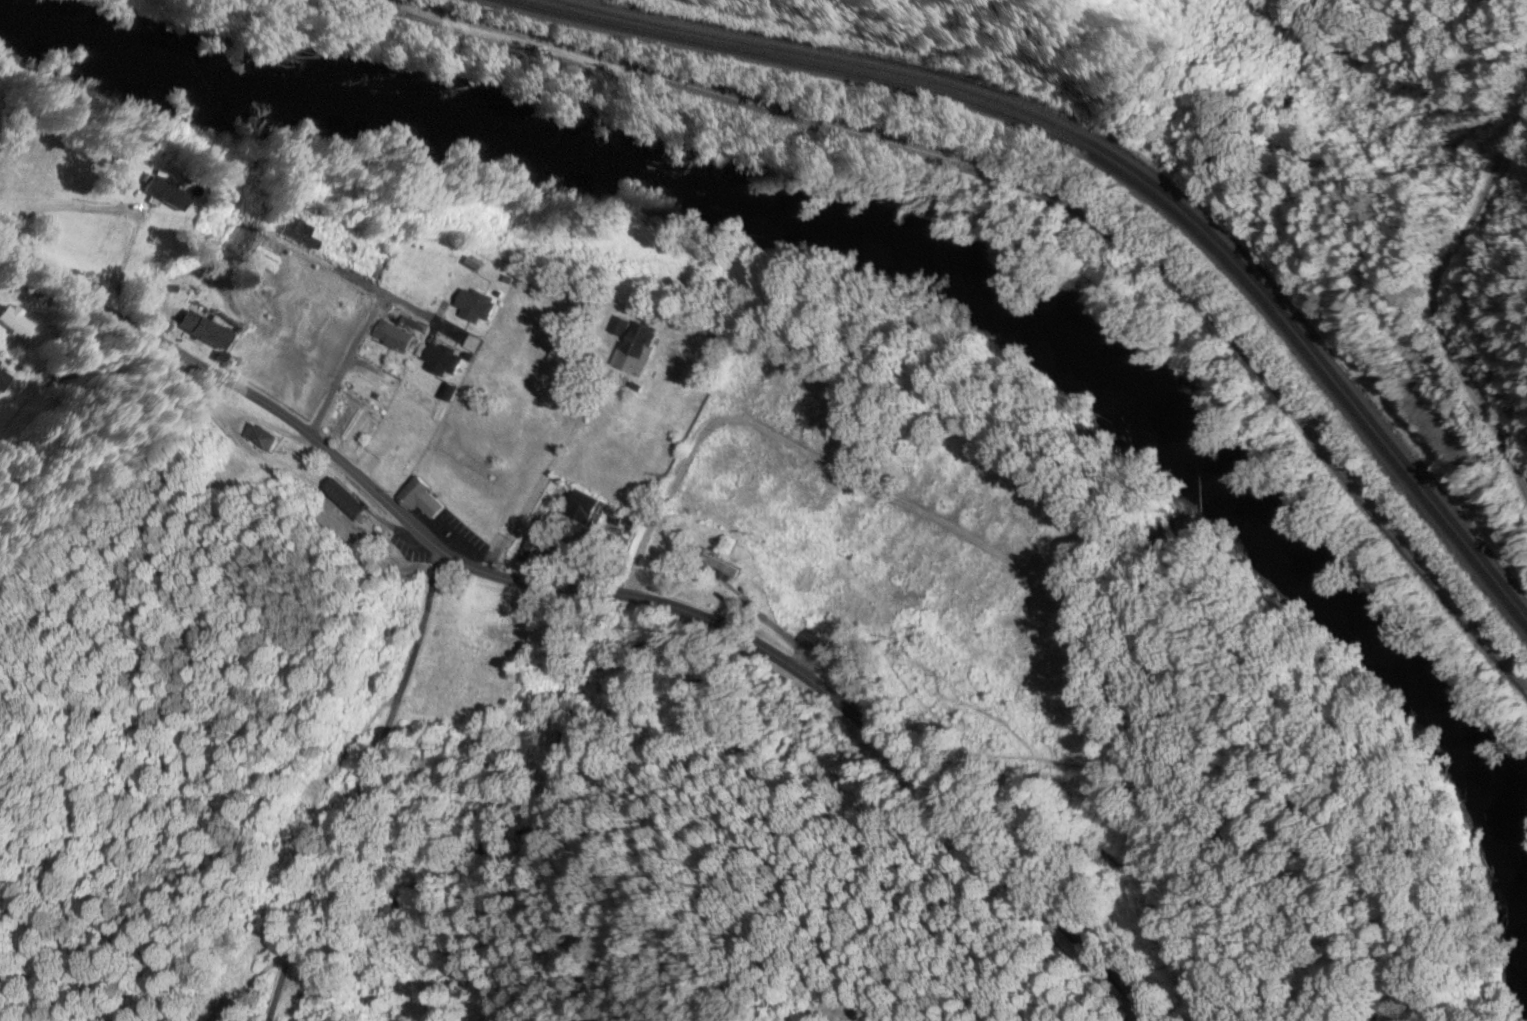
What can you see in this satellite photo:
building: (26, 164)
railway: (1125, 164)
road: (1044, 193)
building: (165, 195)
building: (295, 233)
building: (114, 238)
river: (912, 277)
building: (302, 282)
road: (389, 296)
road: (1429, 298)
building: (474, 305)
building: (15, 323)
building: (202, 331)
building: (394, 336)
building: (635, 349)
building: (255, 359)
building: (441, 360)
road: (347, 365)
building: (59, 374)
building: (757, 376)
building: (2, 382)
building: (776, 391)
building: (818, 414)
building: (835, 432)
building: (256, 438)
building: (893, 453)
road: (806, 455)
building: (723, 457)
building: (933, 471)
building: (760, 472)
building: (957, 482)
building: (781, 483)
building: (806, 493)
building: (418, 499)
building: (584, 508)
building: (1004, 508)
building: (849, 520)
building: (866, 536)
building: (1061, 541)
building: (530, 542)
building: (910, 562)
building: (718, 566)
building: (935, 568)
road: (598, 591)
building: (983, 599)
building: (1005, 618)
building: (1025, 625)
building: (1047, 635)
building: (503, 641)
building: (811, 642)
road: (364, 790)
building: (293, 826)
road: (1133, 1019)

